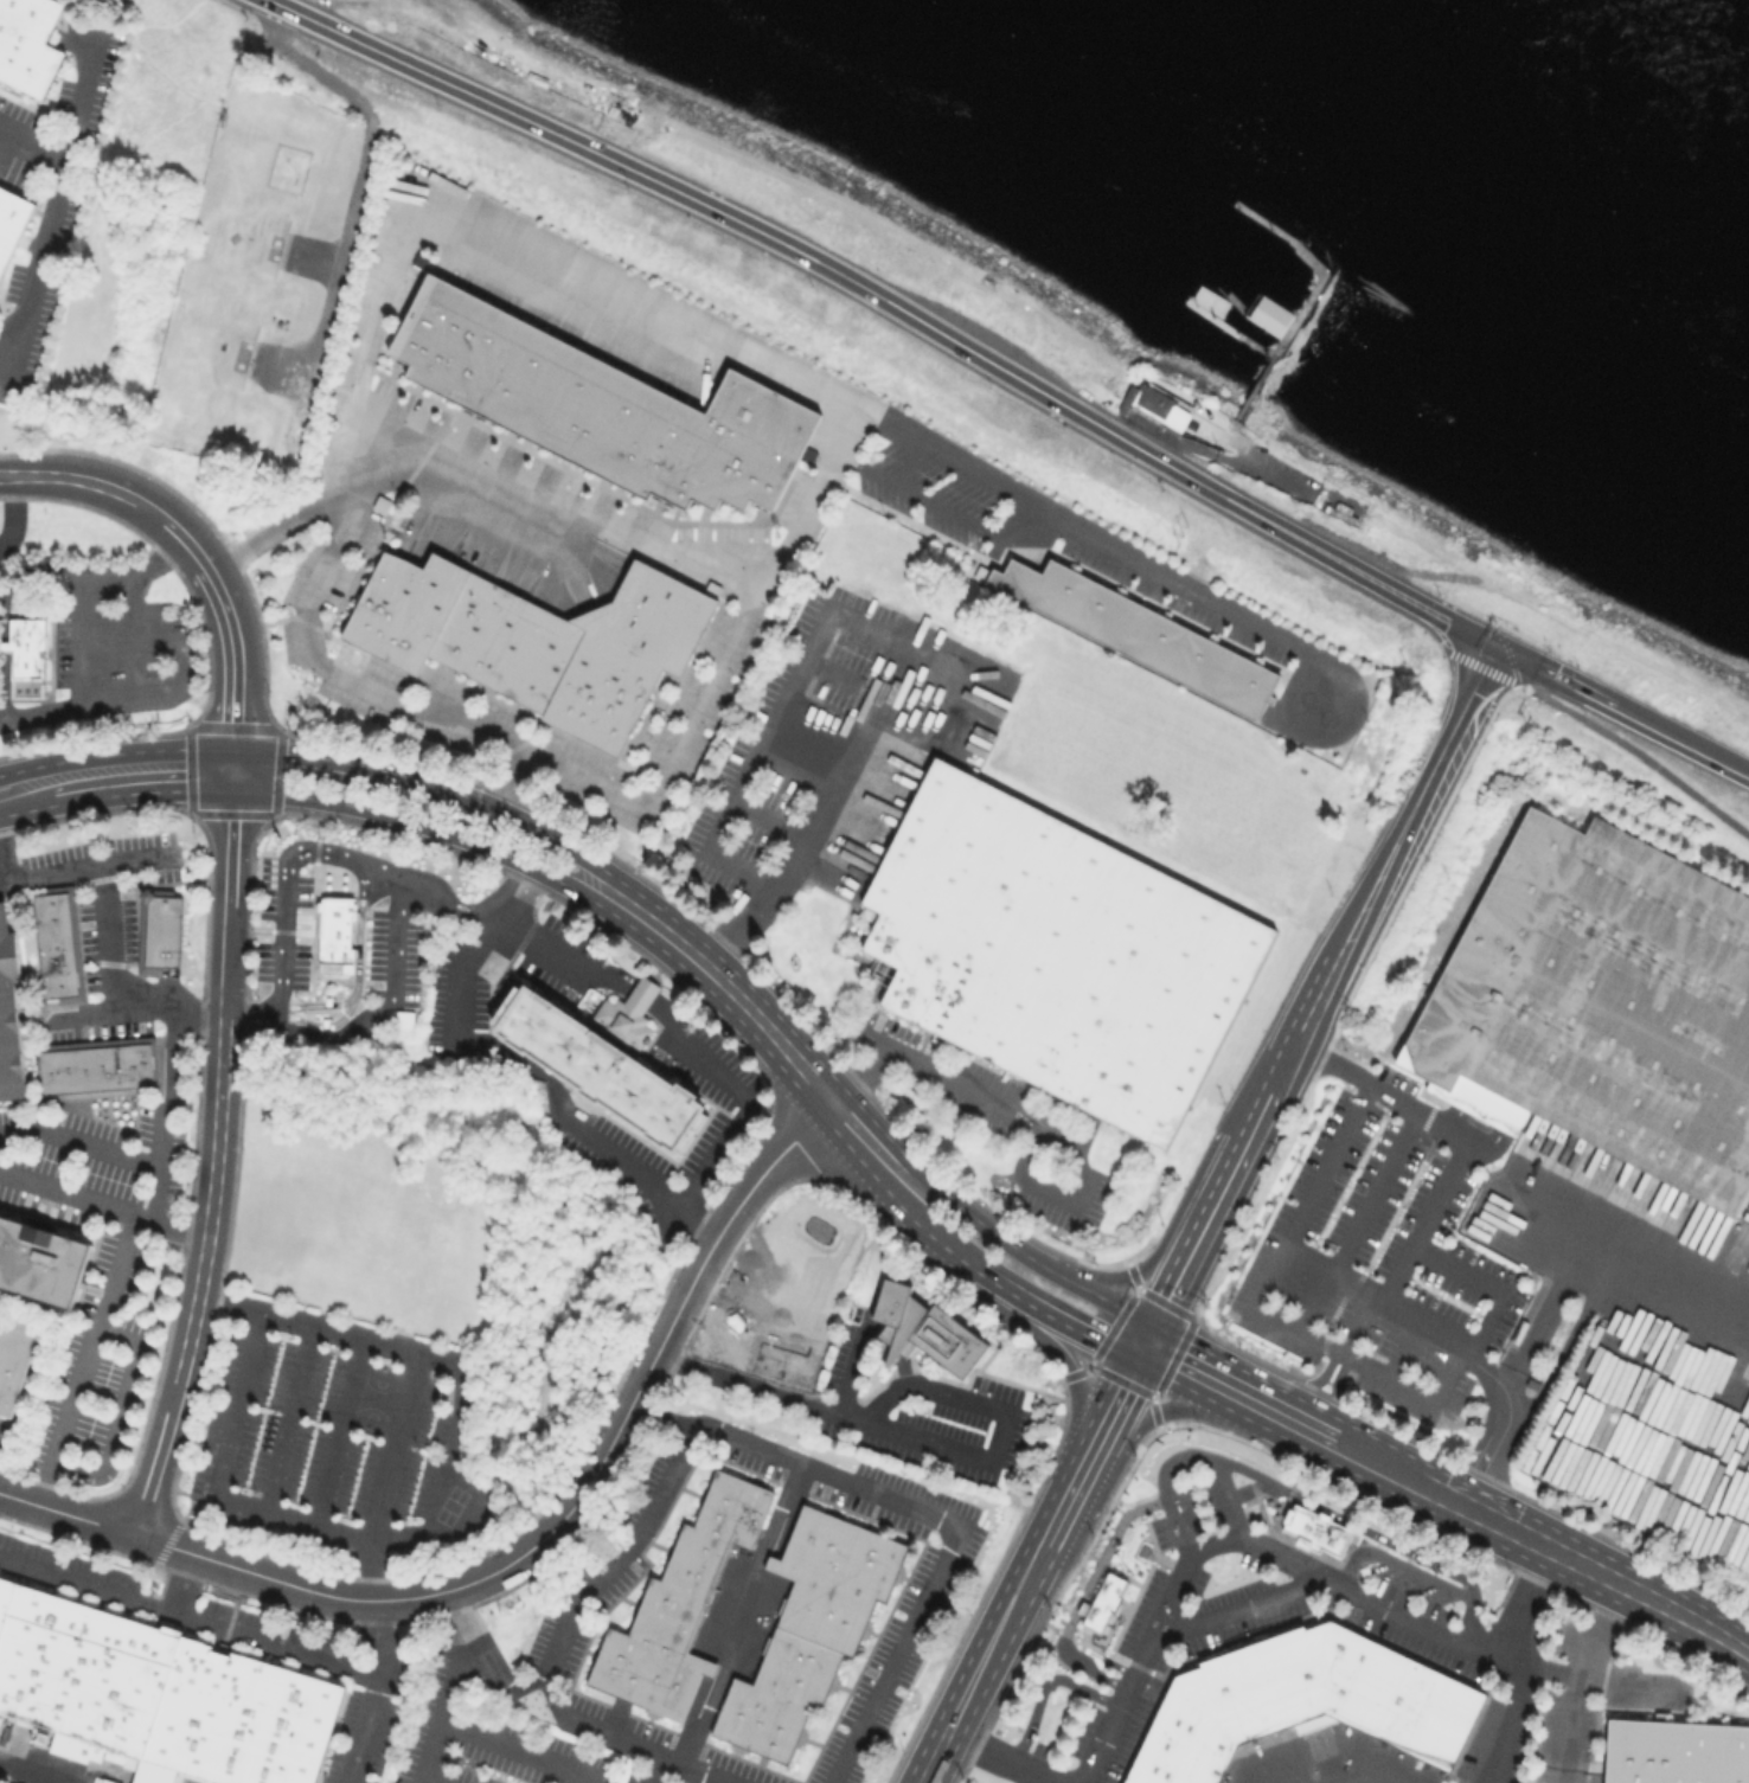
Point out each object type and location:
building: (27, 43)
road: (31, 145)
road: (363, 177)
road: (55, 192)
building: (11, 218)
road: (600, 276)
pier: (1312, 296)
road: (893, 304)
building: (1269, 315)
pier: (1234, 328)
building: (1165, 405)
building: (602, 409)
road: (111, 489)
road: (910, 493)
building: (382, 500)
road: (13, 513)
road: (1017, 527)
road: (1106, 540)
road: (139, 571)
road: (5, 612)
building: (1140, 628)
road: (136, 636)
road: (83, 637)
building: (542, 641)
building: (28, 644)
traffic signals: (1500, 648)
road: (723, 669)
road: (237, 671)
road: (127, 700)
road: (1623, 711)
road: (1621, 743)
traffic signals: (236, 750)
road: (315, 757)
road: (739, 785)
traffic signals: (235, 790)
road: (146, 791)
road: (1421, 802)
road: (28, 810)
road: (419, 823)
road: (796, 858)
road: (70, 873)
road: (5, 884)
parking lot: (284, 925)
road: (523, 928)
building: (165, 931)
building: (334, 932)
building: (57, 945)
building: (1053, 955)
parking lot: (396, 960)
road: (360, 968)
road: (724, 983)
building: (1607, 1005)
building: (11, 1013)
road: (85, 1016)
road: (255, 1016)
road: (328, 1026)
road: (1307, 1028)
road: (521, 1062)
building: (604, 1062)
building: (98, 1069)
road: (1500, 1116)
road: (1021, 1117)
road: (873, 1148)
road: (1206, 1156)
road: (158, 1166)
road: (214, 1167)
road: (1379, 1194)
road: (158, 1195)
road: (103, 1207)
road: (1217, 1213)
road: (1306, 1219)
road: (929, 1229)
road: (1033, 1259)
road: (1410, 1261)
road: (1623, 1263)
building: (44, 1265)
parking lot: (1379, 1268)
road: (1115, 1278)
road: (1491, 1288)
road: (1045, 1315)
road: (1545, 1317)
road: (1357, 1325)
traffic signals: (1158, 1327)
building: (925, 1334)
road: (1568, 1342)
road: (1147, 1345)
road: (1055, 1351)
road: (1345, 1355)
building: (17, 1361)
traffic signals: (1138, 1362)
road: (90, 1364)
road: (467, 1375)
road: (1321, 1379)
road: (1268, 1384)
road: (1339, 1387)
park: (378, 1398)
road: (124, 1413)
road: (289, 1419)
road: (1249, 1420)
road: (1104, 1422)
road: (341, 1434)
road: (923, 1438)
road: (395, 1448)
road: (2, 1455)
parking lot: (338, 1458)
road: (1184, 1458)
road: (792, 1461)
road: (1395, 1469)
road: (1115, 1473)
road: (220, 1480)
road: (1347, 1520)
building: (1313, 1528)
road: (1051, 1529)
road: (1215, 1545)
road: (525, 1553)
road: (1587, 1566)
road: (1418, 1573)
road: (89, 1582)
road: (1088, 1592)
building: (1101, 1601)
building: (679, 1605)
road: (1243, 1605)
road: (747, 1615)
building: (809, 1629)
road: (1604, 1631)
road: (255, 1635)
road: (986, 1654)
road: (480, 1657)
road: (1584, 1679)
building: (160, 1692)
road: (380, 1693)
building: (1298, 1700)
road: (1504, 1720)
road: (1569, 1730)
road: (619, 1732)
road: (515, 1750)
building: (1674, 1755)
road: (433, 1756)
road: (934, 1758)
road: (680, 1764)
road: (28, 1771)
road: (1330, 1776)

